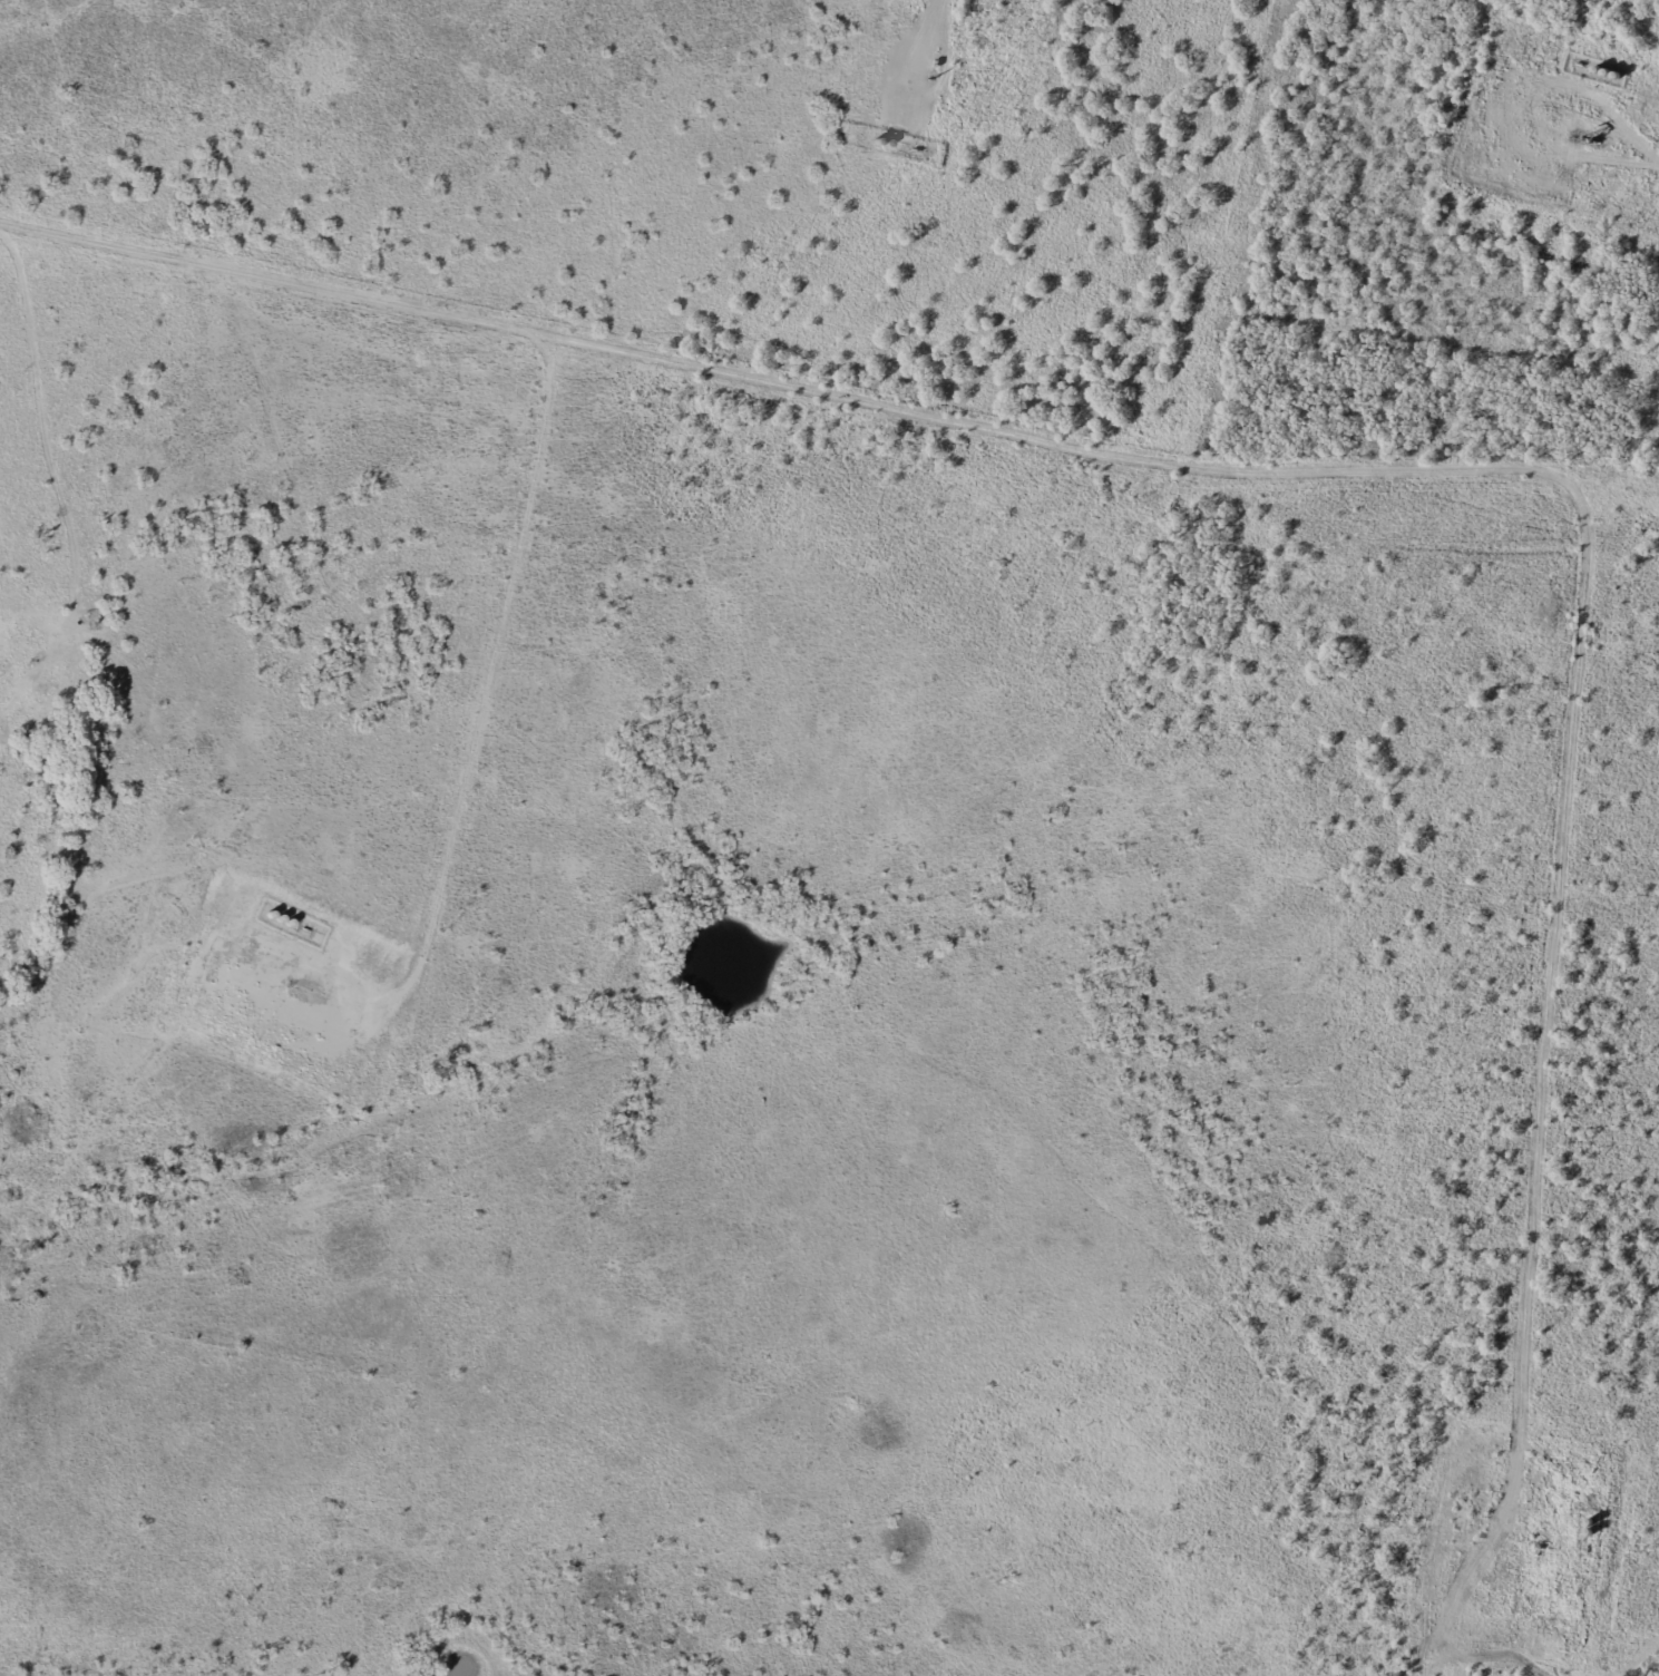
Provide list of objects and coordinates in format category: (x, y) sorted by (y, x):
road: (910, 65)
road: (1563, 156)
road: (1369, 475)
road: (468, 766)

